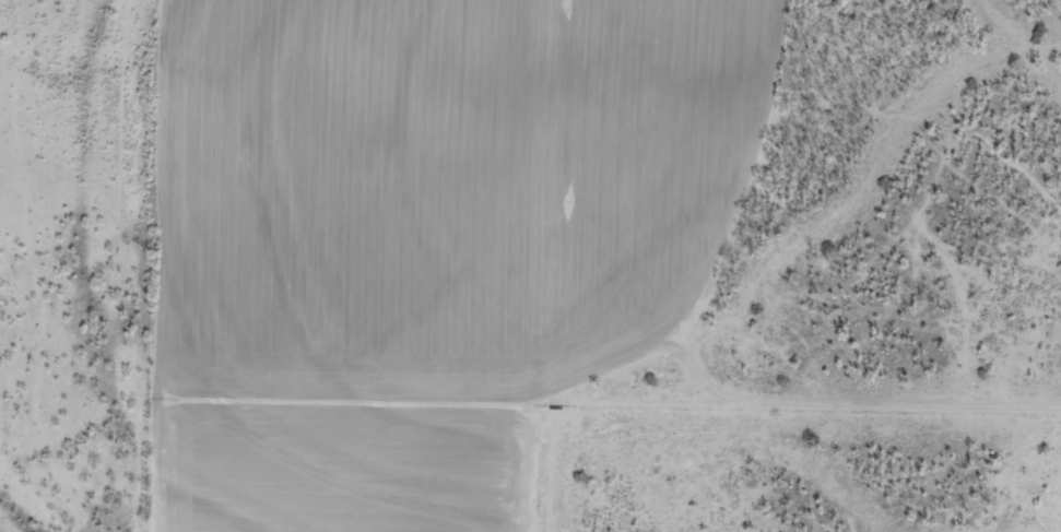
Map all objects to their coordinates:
road: (533, 265)

